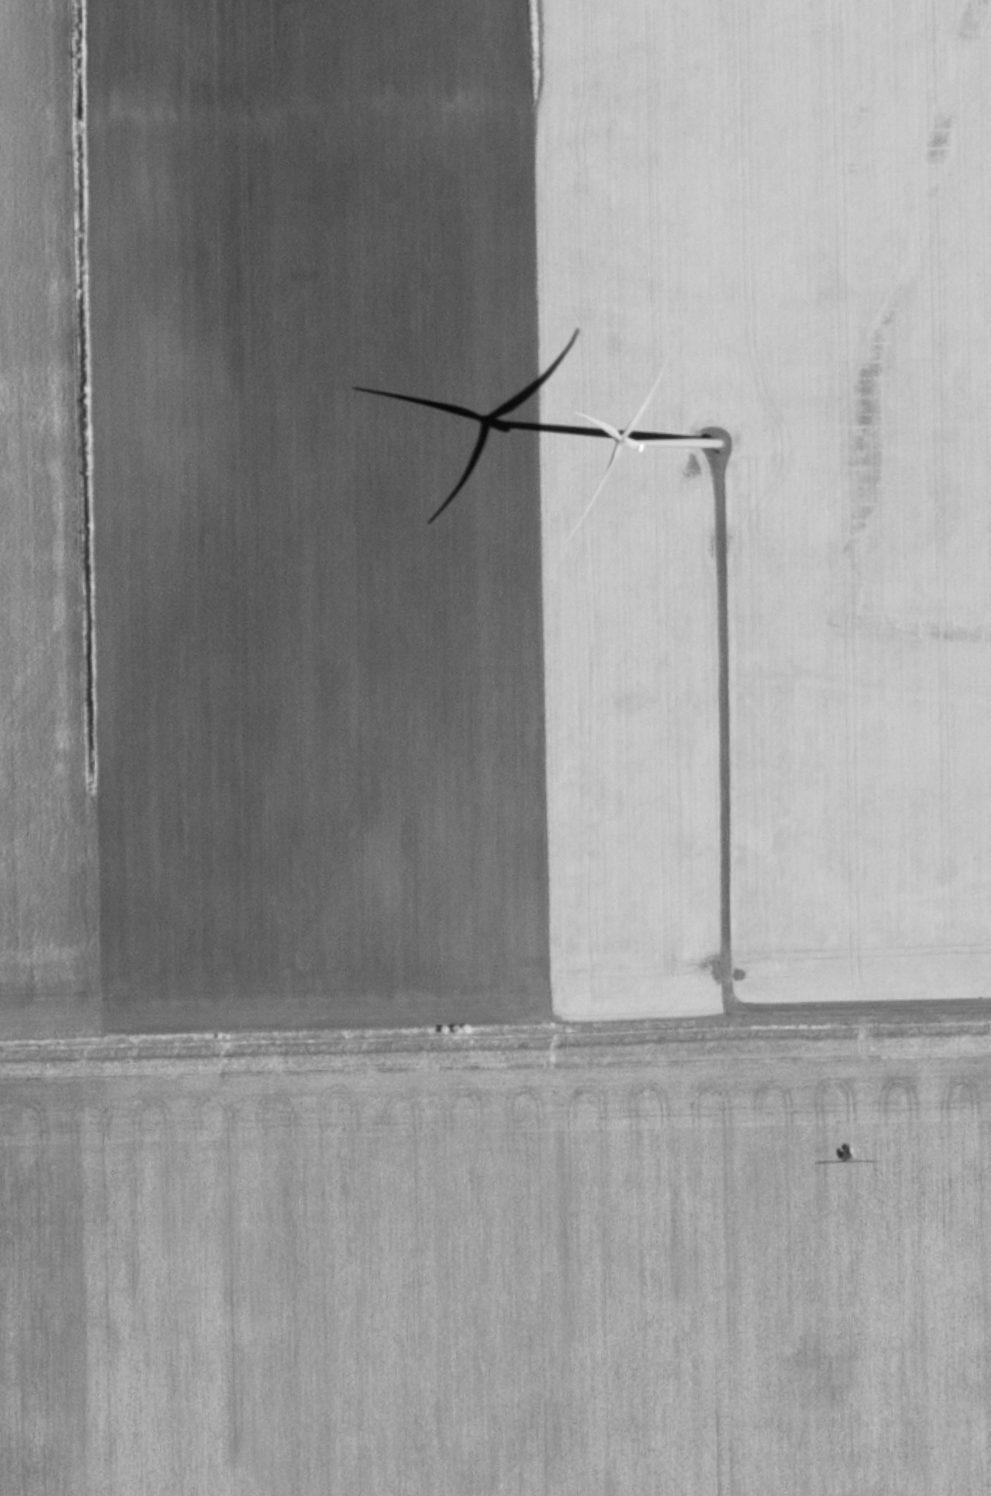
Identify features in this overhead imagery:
wind turbine: (718, 425)
road: (721, 905)

